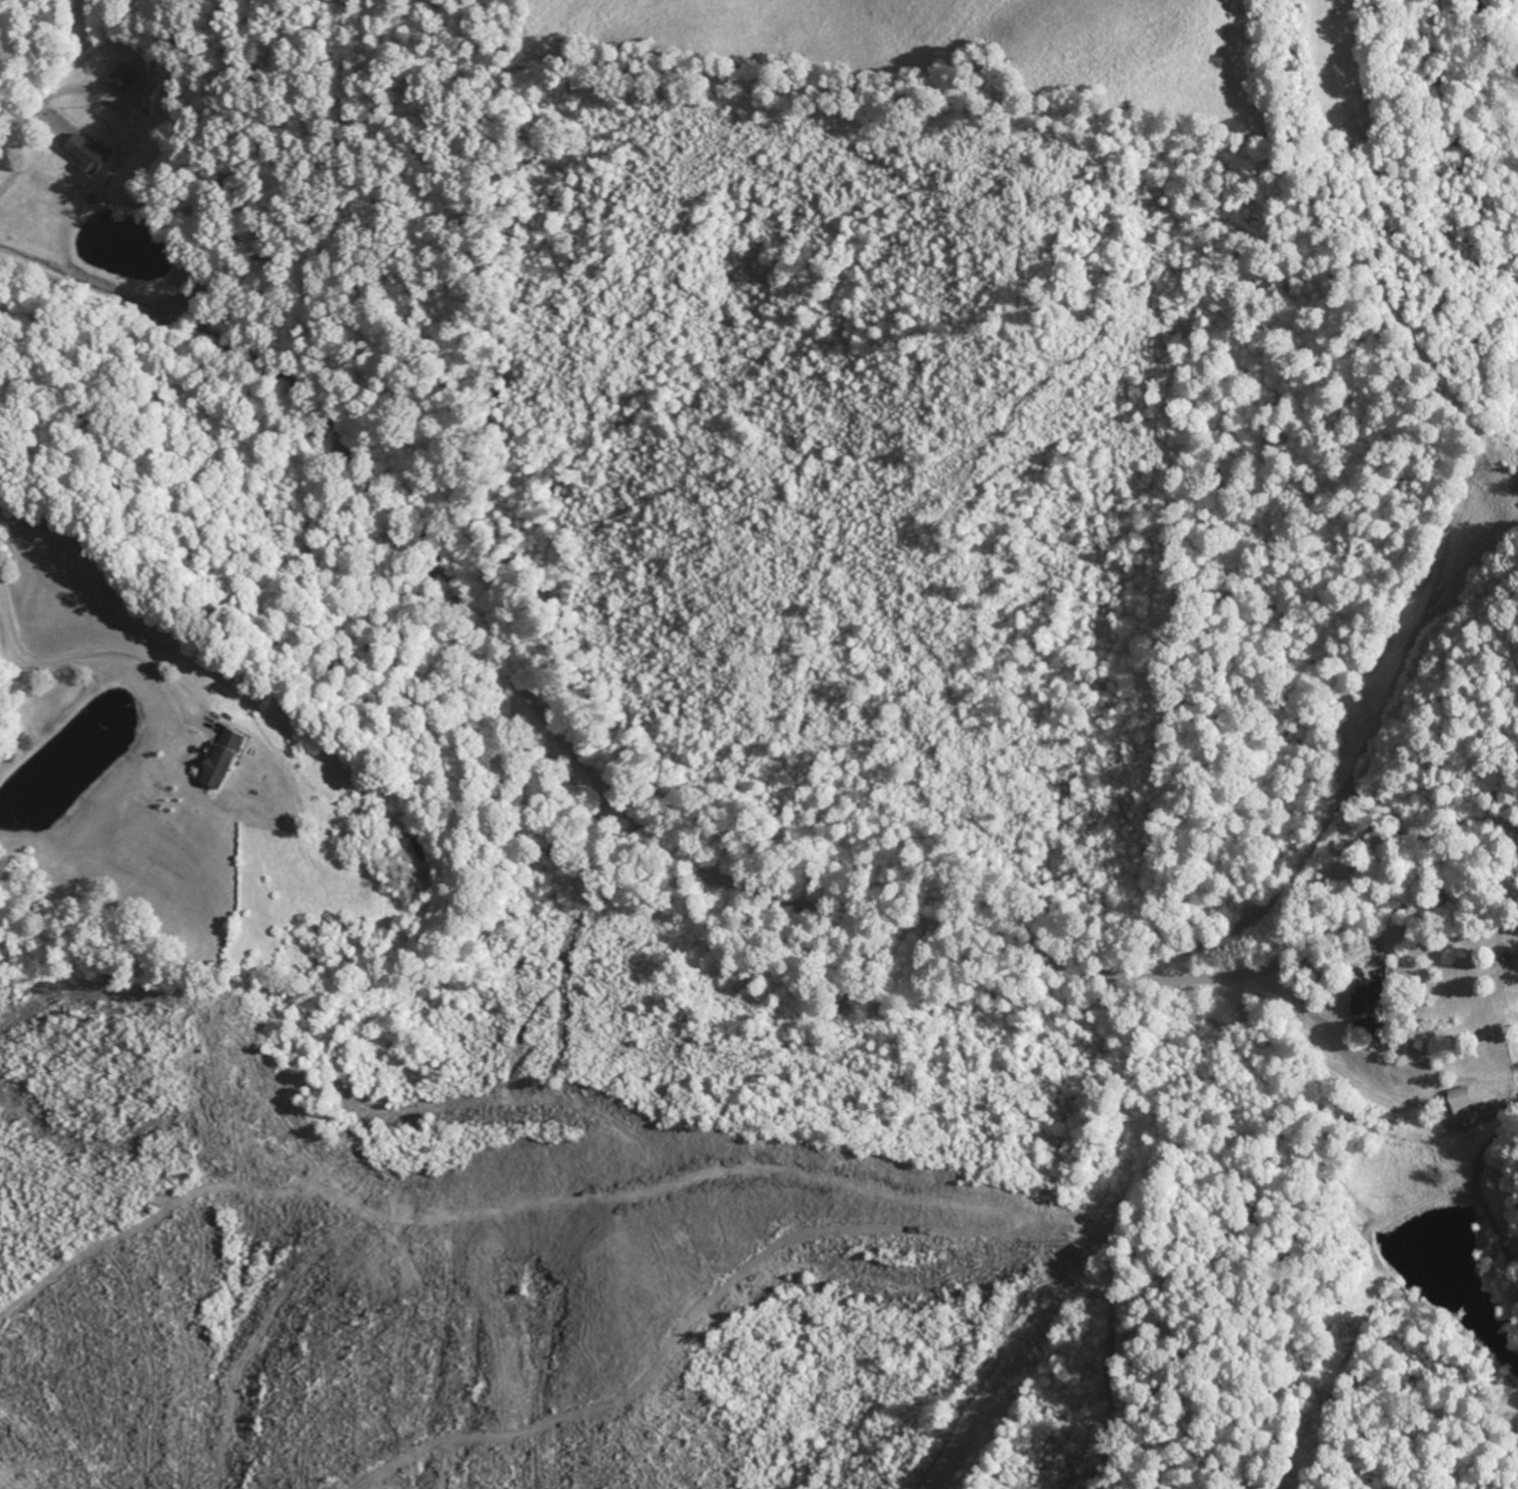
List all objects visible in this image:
building: (124, 77)
road: (27, 113)
building: (91, 154)
power tower: (1508, 464)
building: (227, 758)
road: (600, 784)
building: (1369, 1002)
building: (1463, 1101)
power tower: (1079, 1241)

